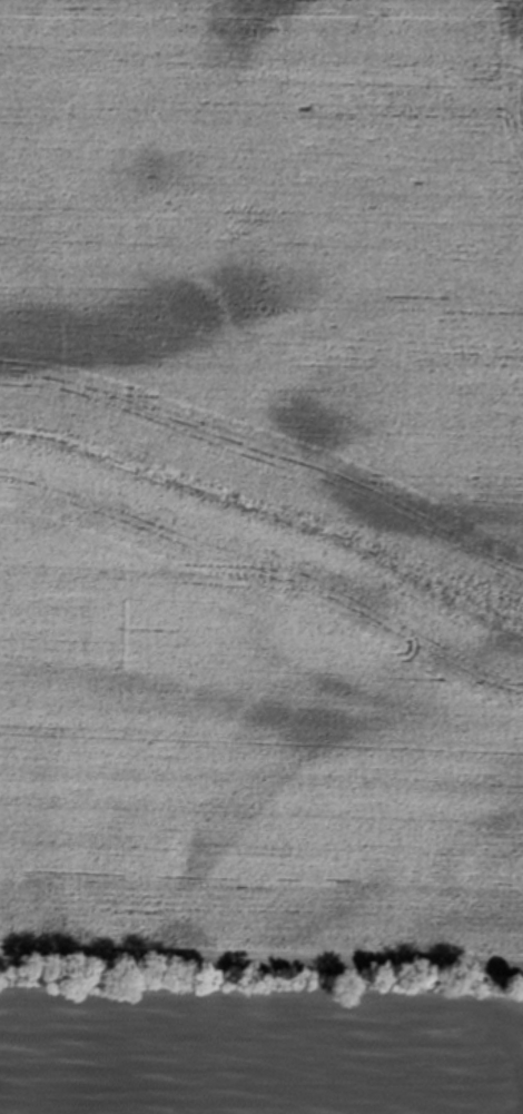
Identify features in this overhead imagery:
road: (260, 963)

